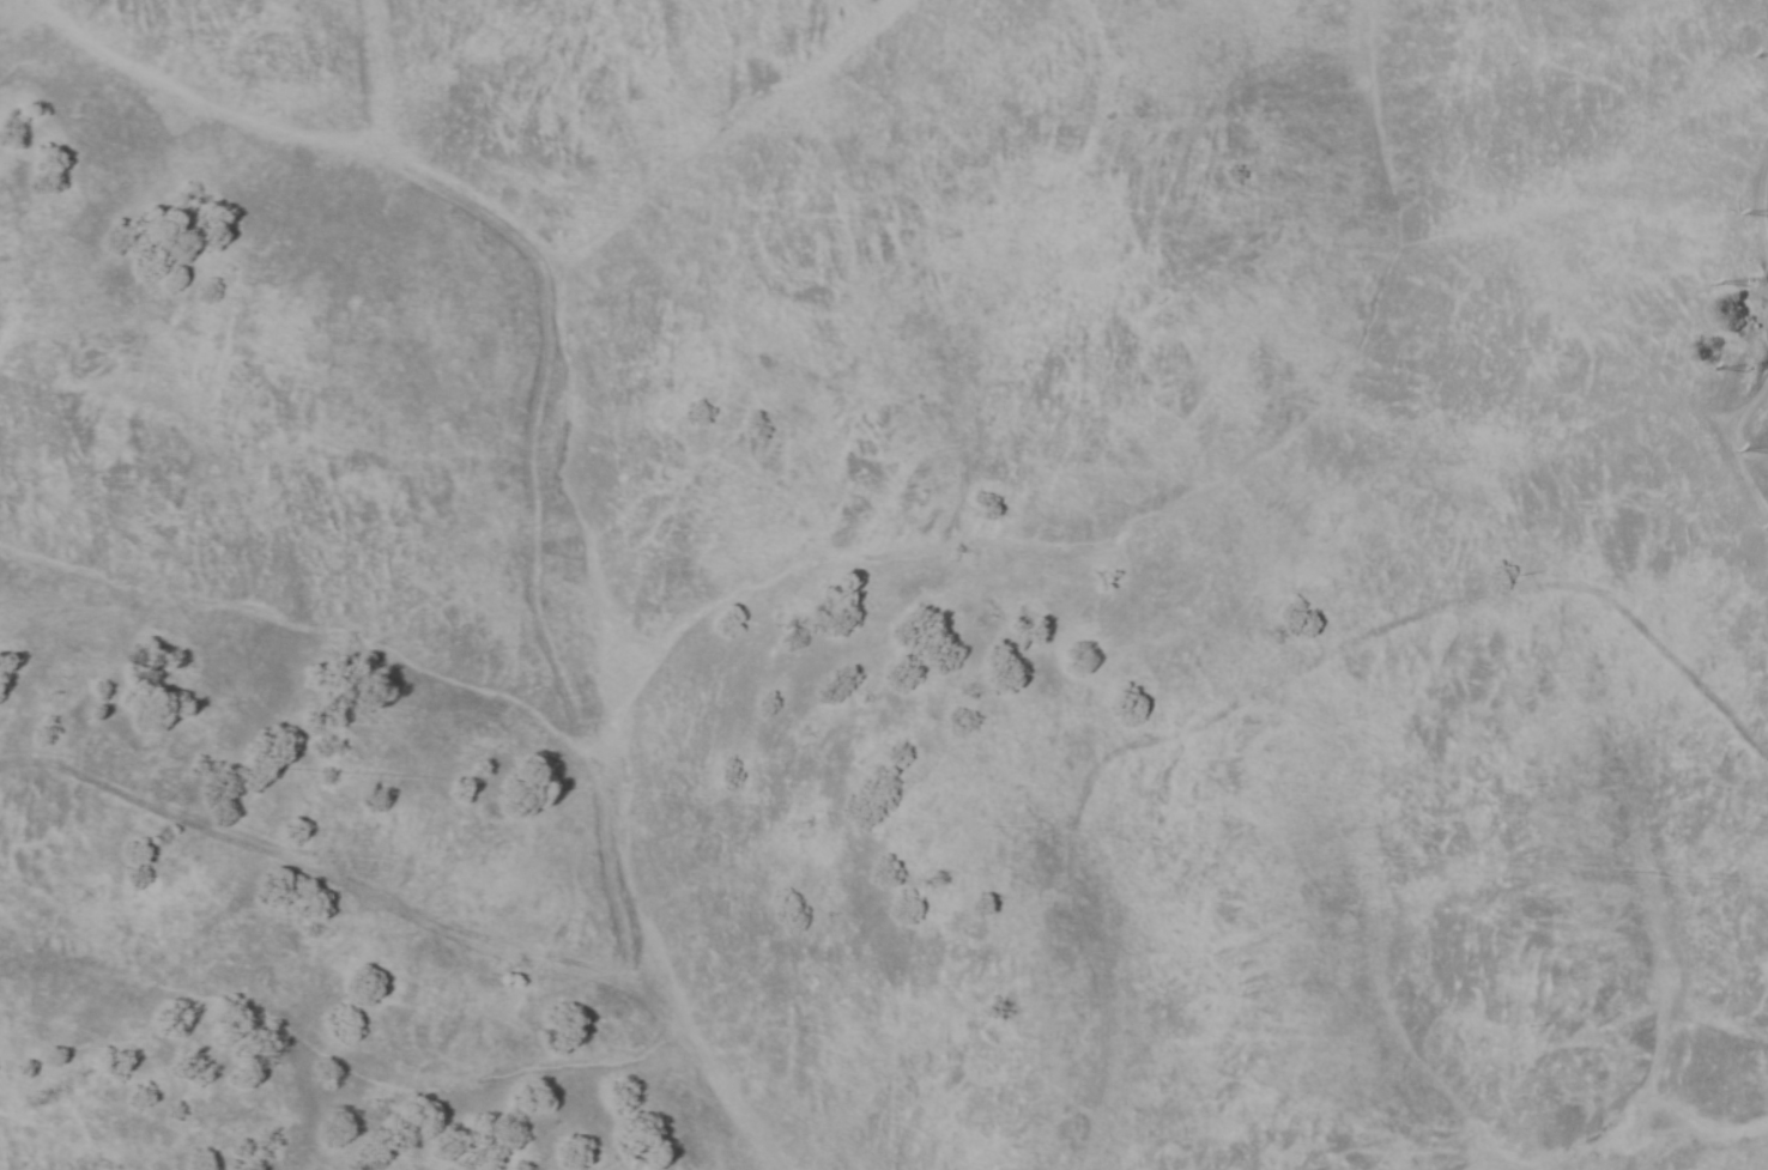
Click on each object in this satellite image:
road: (1758, 199)
wind turbine: (1746, 285)
wind turbine: (1749, 366)
road: (1733, 444)

